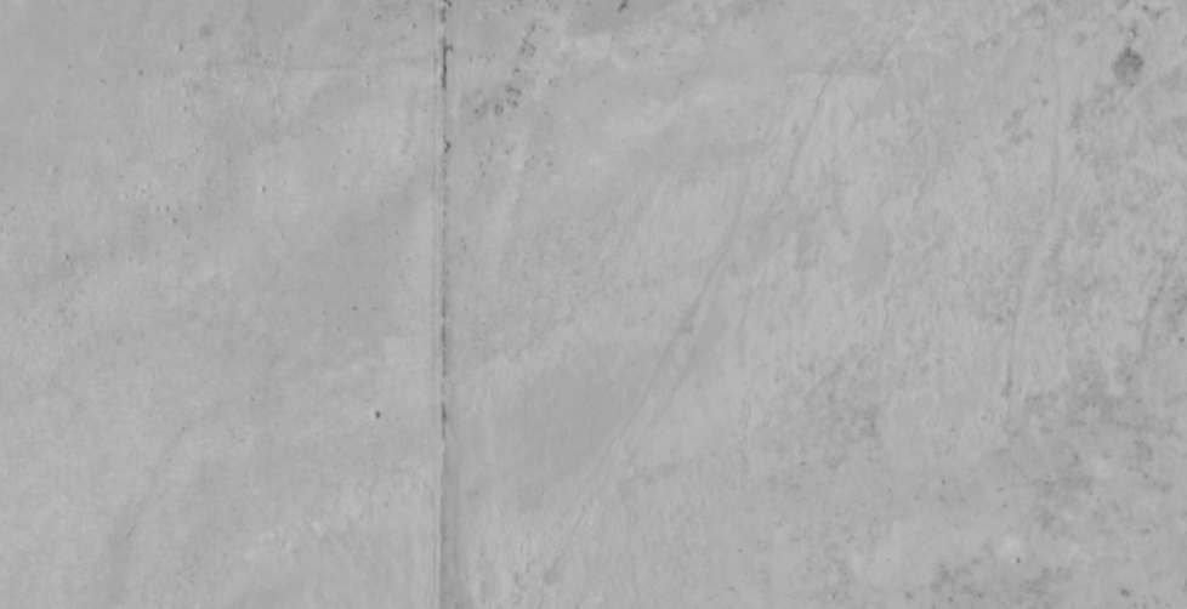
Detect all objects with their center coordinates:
crop: (856, 309)

